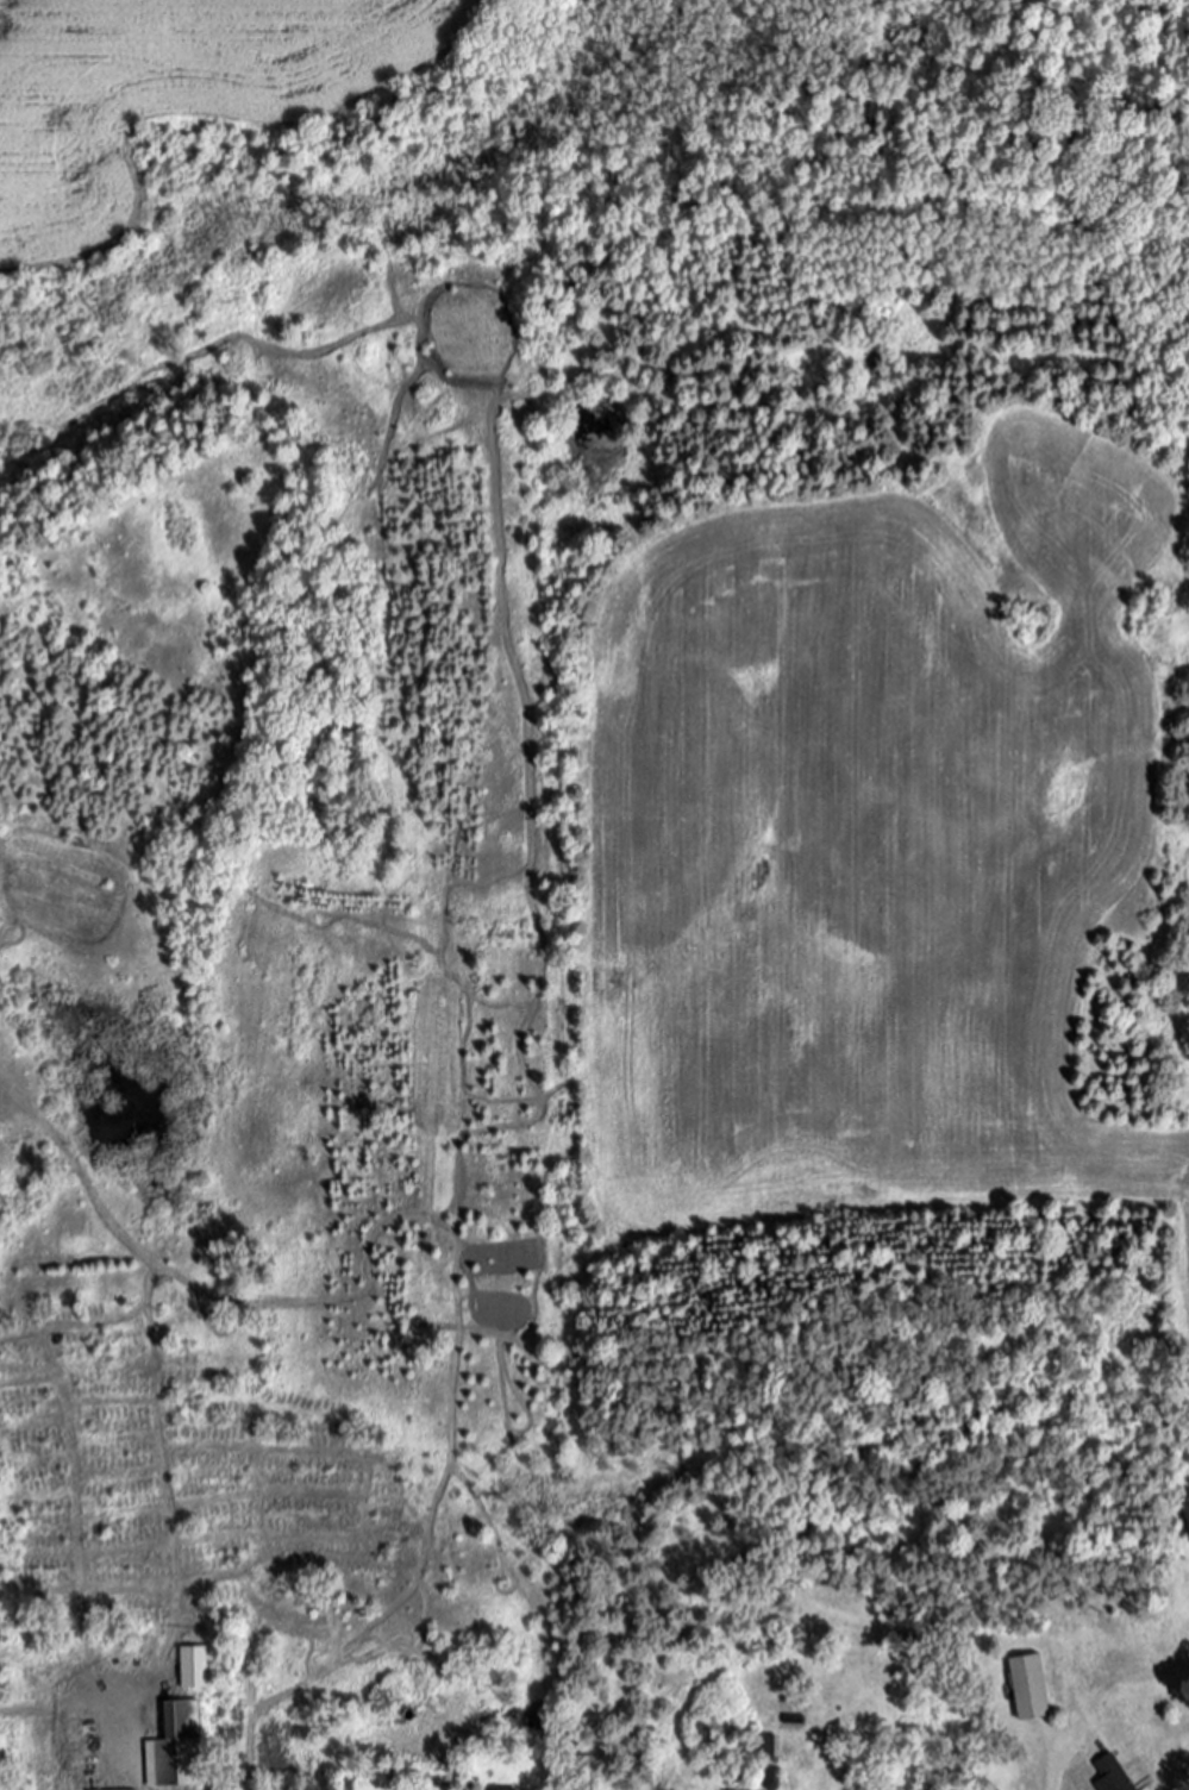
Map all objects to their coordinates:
road: (170, 1446)
road: (77, 1547)
building: (194, 1669)
building: (1030, 1692)
road: (65, 1709)
building: (177, 1748)
road: (133, 1753)
road: (1055, 1770)
building: (1113, 1775)
building: (139, 1789)
building: (506, 1789)

